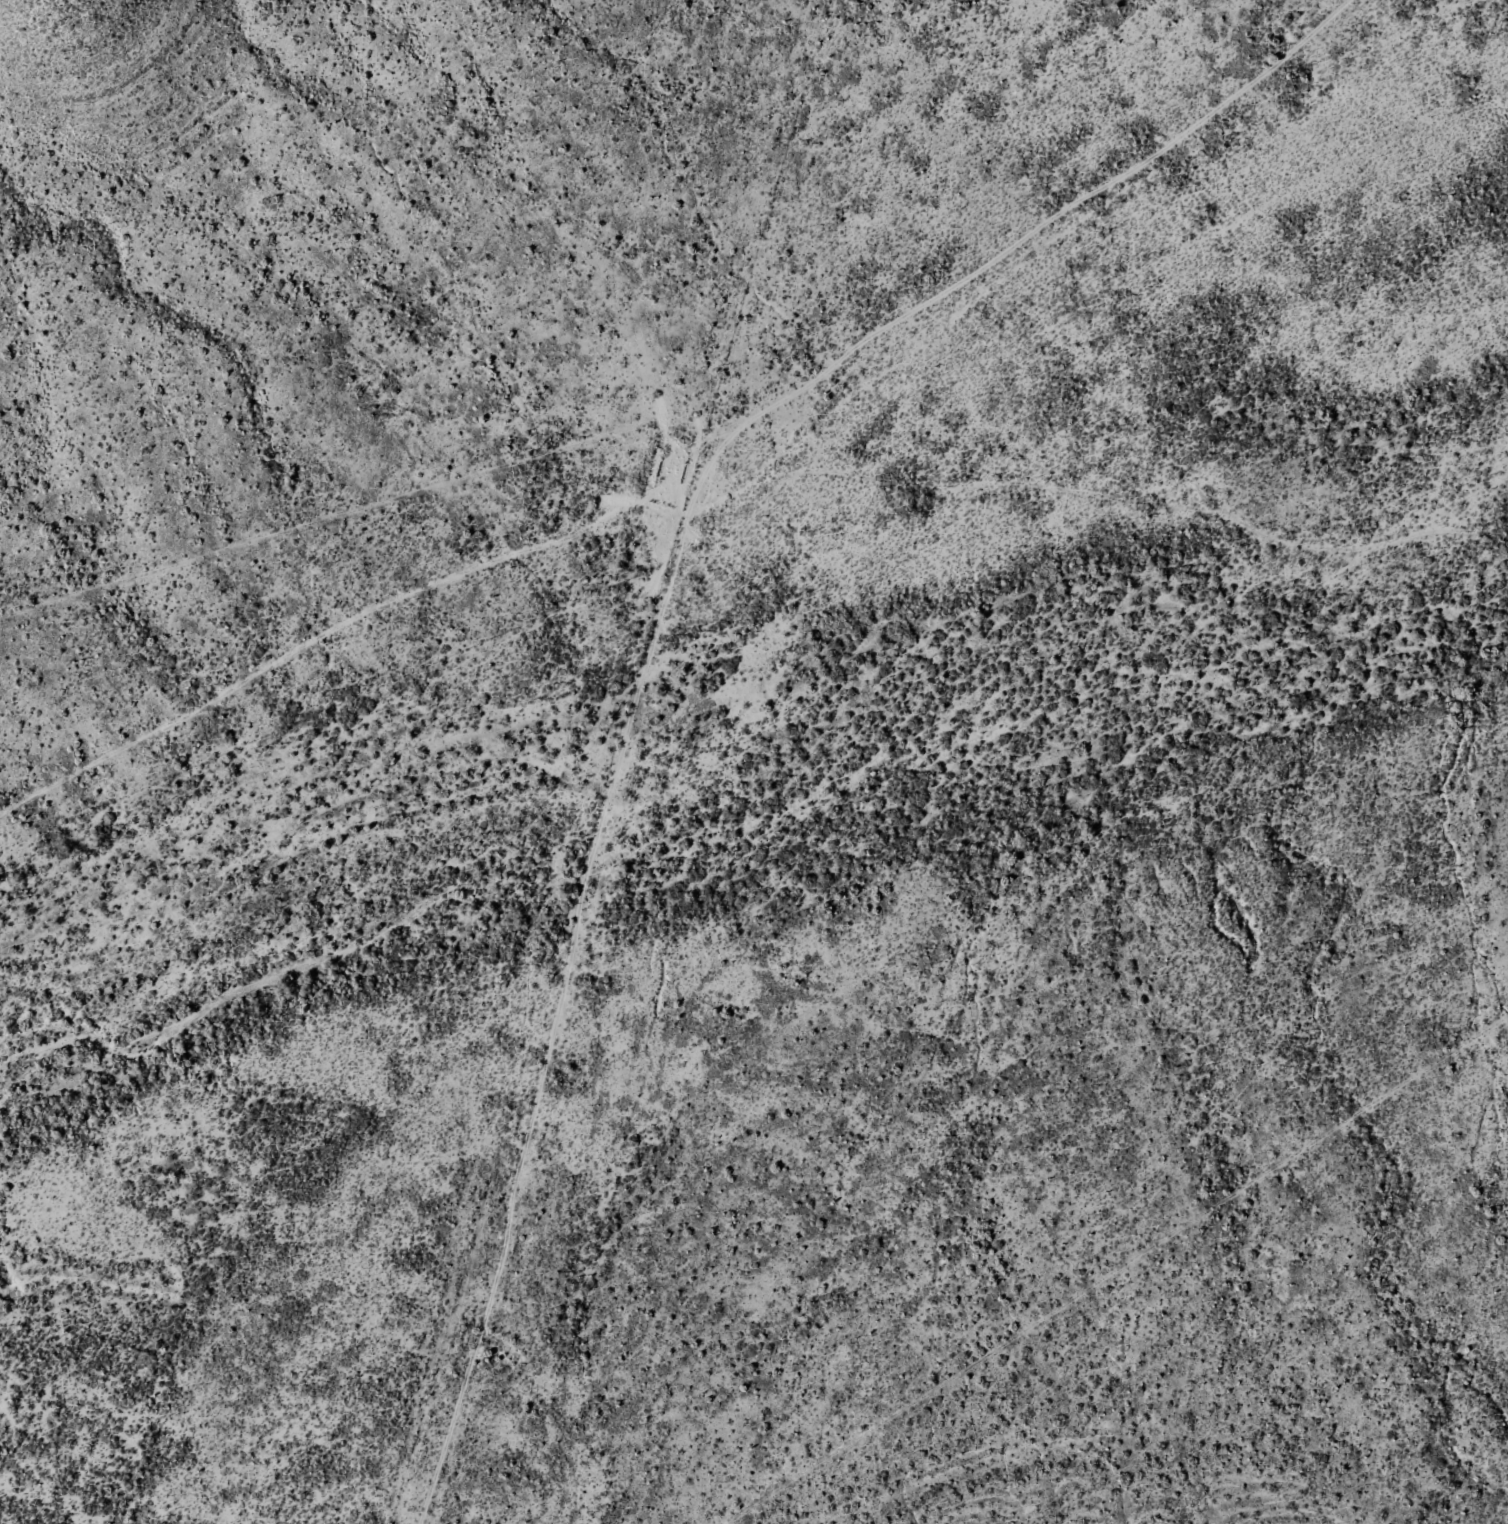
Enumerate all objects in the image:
road: (747, 502)
road: (1153, 547)

